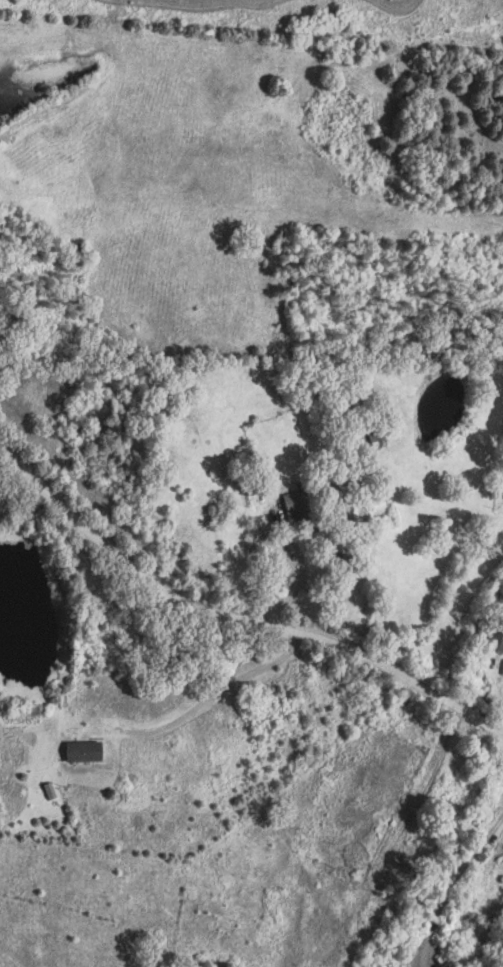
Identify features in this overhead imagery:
road: (232, 619)
building: (92, 751)

